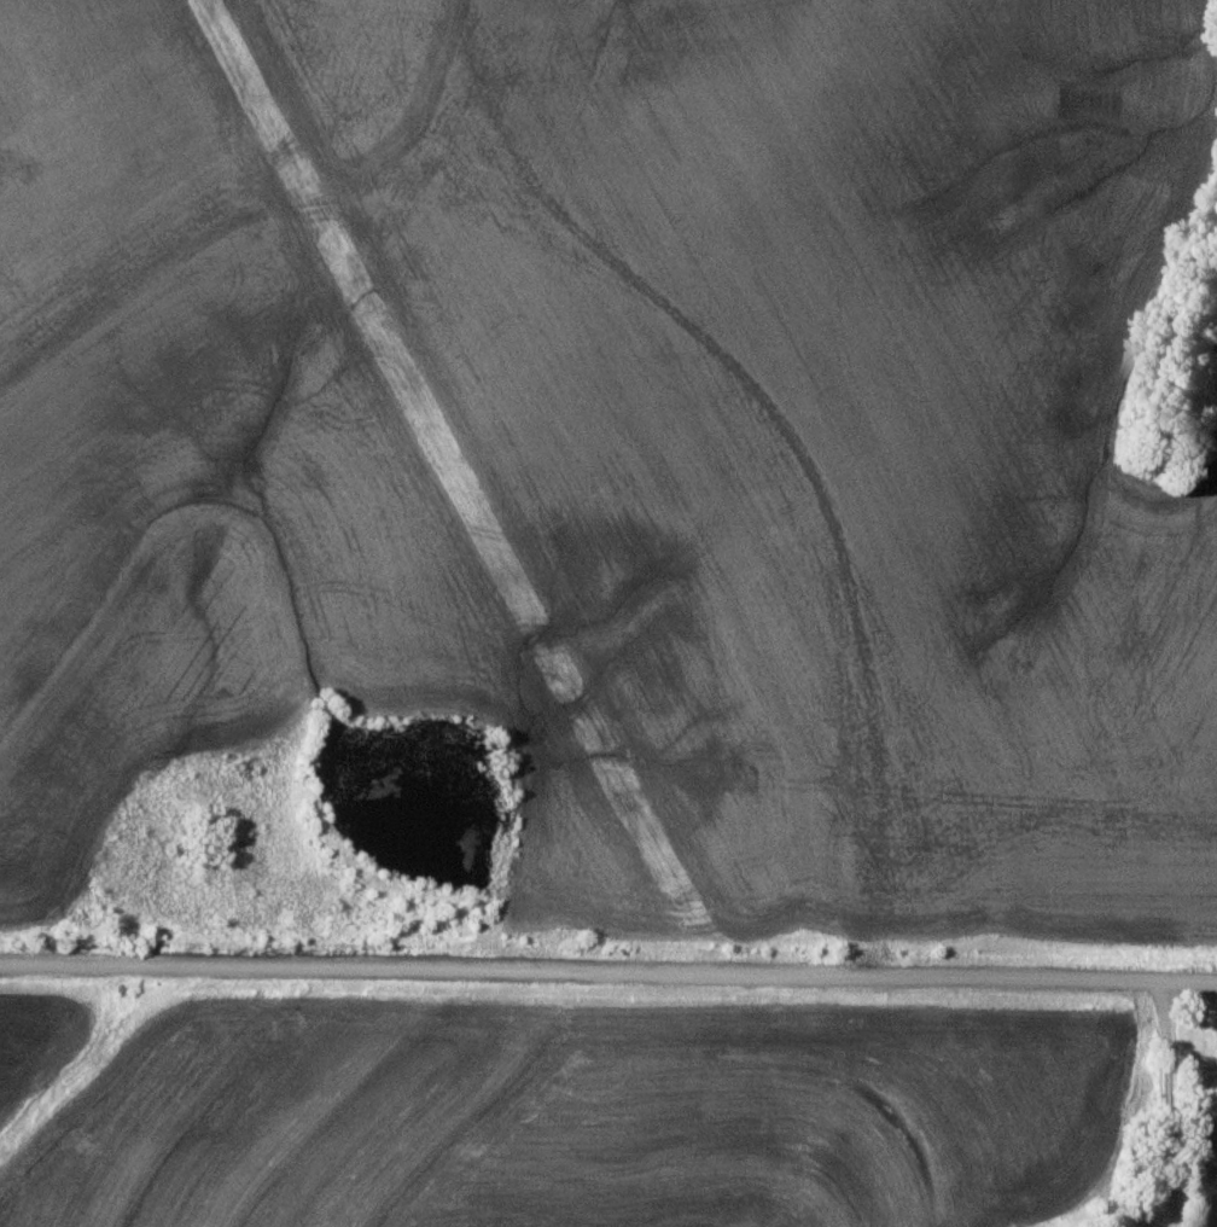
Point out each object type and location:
road: (608, 964)
road: (1180, 1103)

